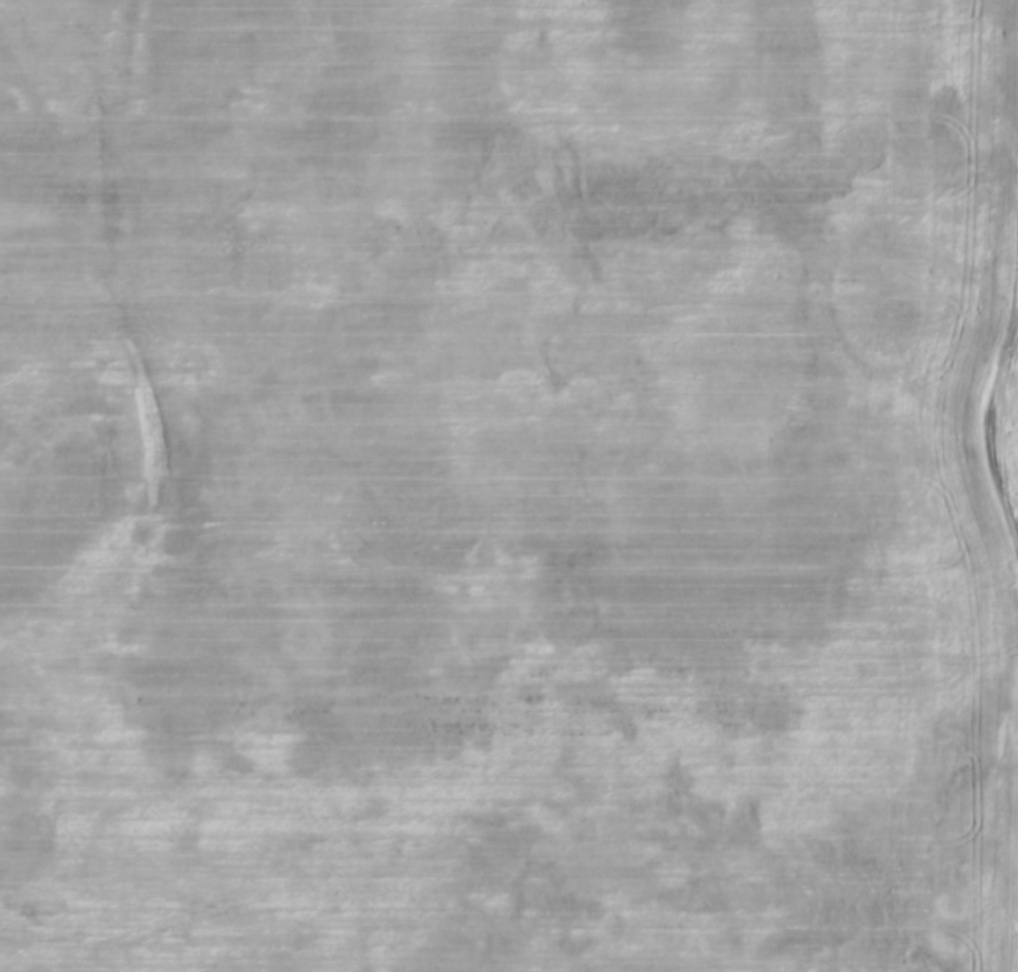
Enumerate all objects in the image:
road: (977, 418)

